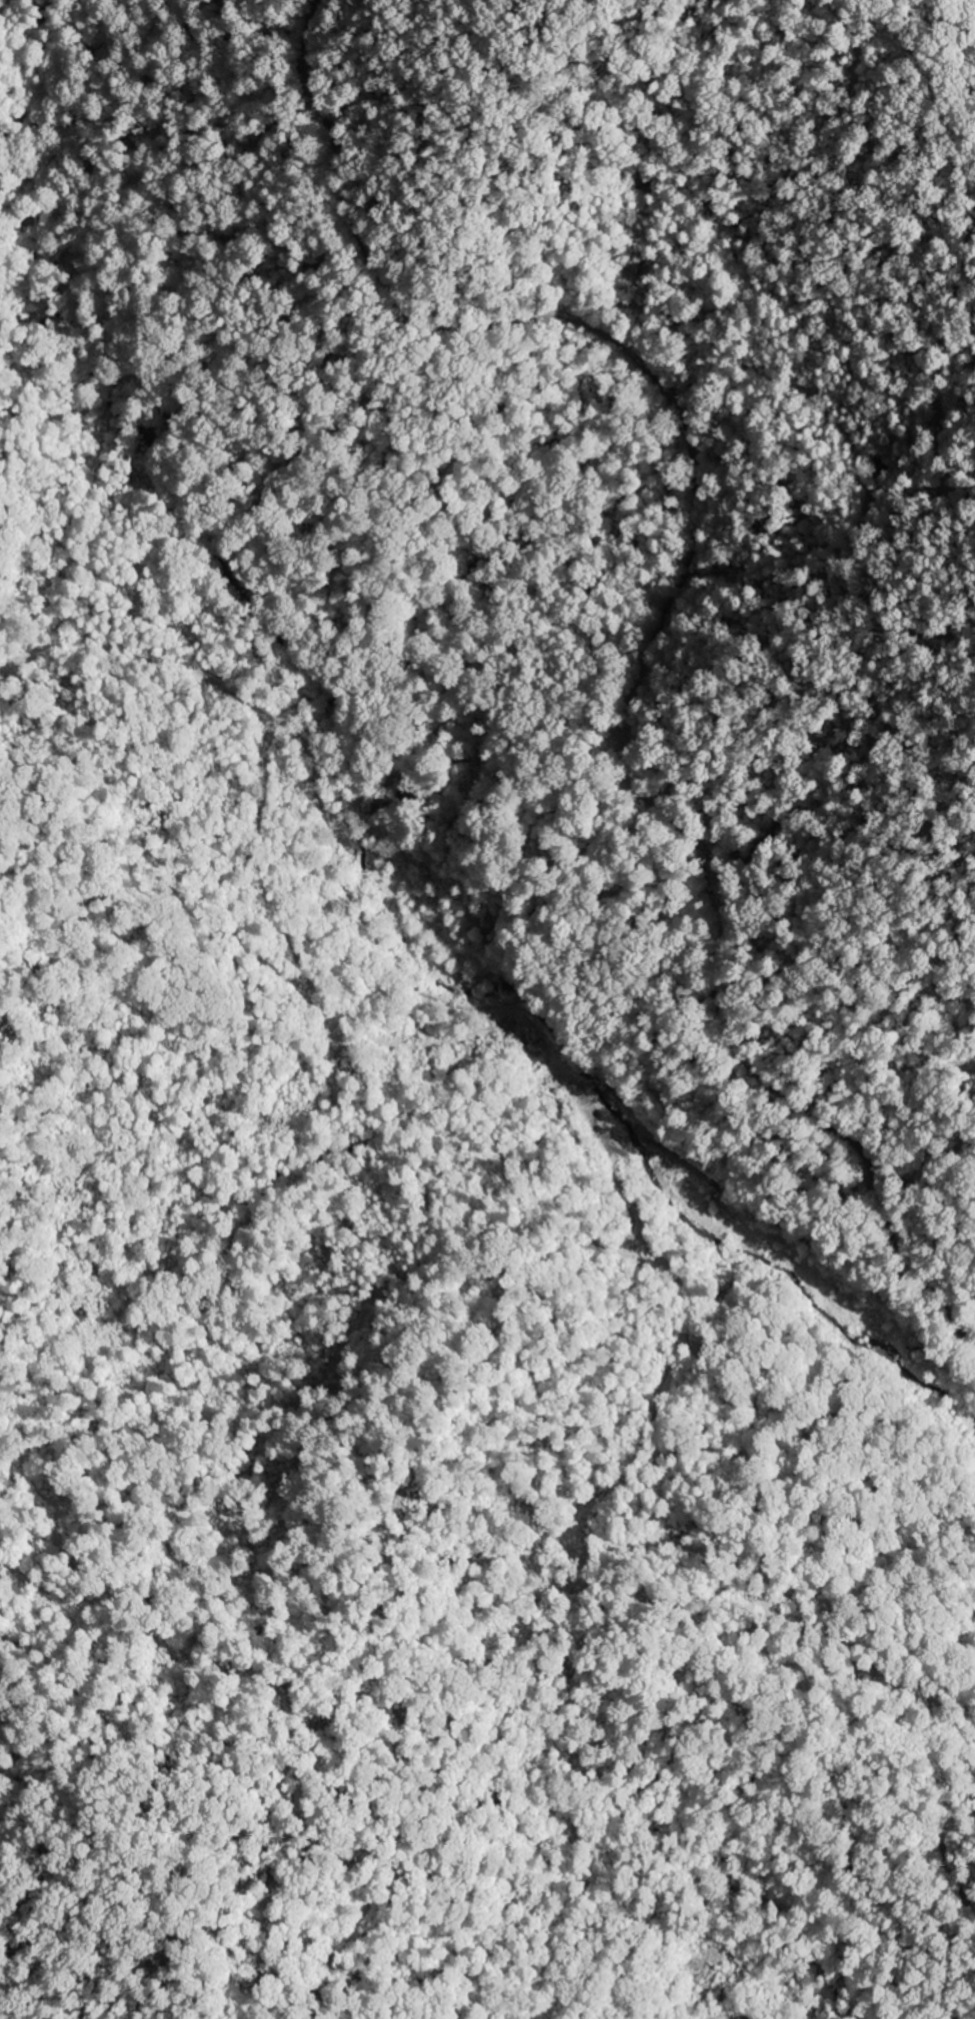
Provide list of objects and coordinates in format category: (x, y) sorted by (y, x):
road: (595, 637)

